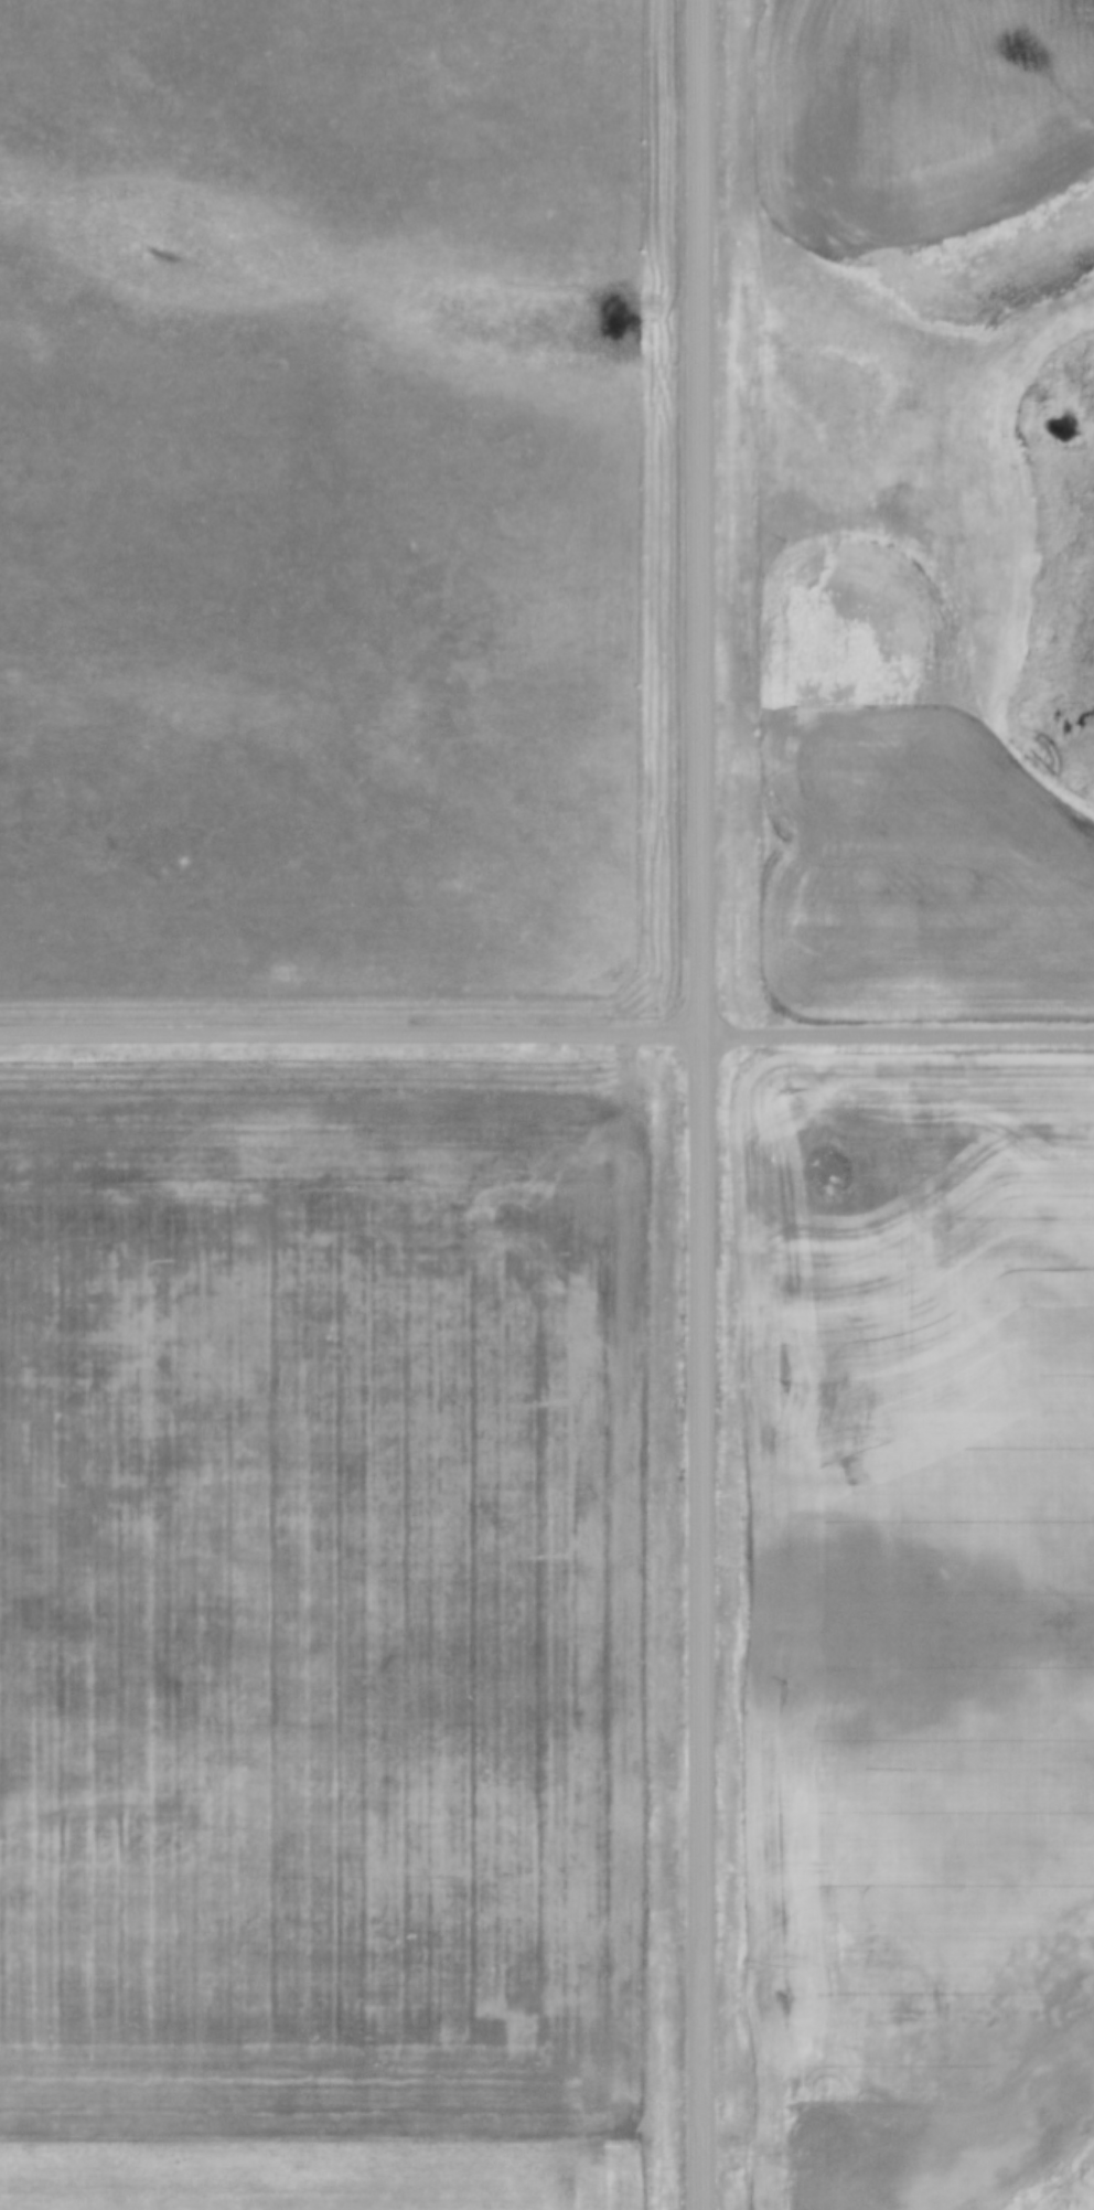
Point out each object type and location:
road: (546, 1034)
road: (700, 1104)

